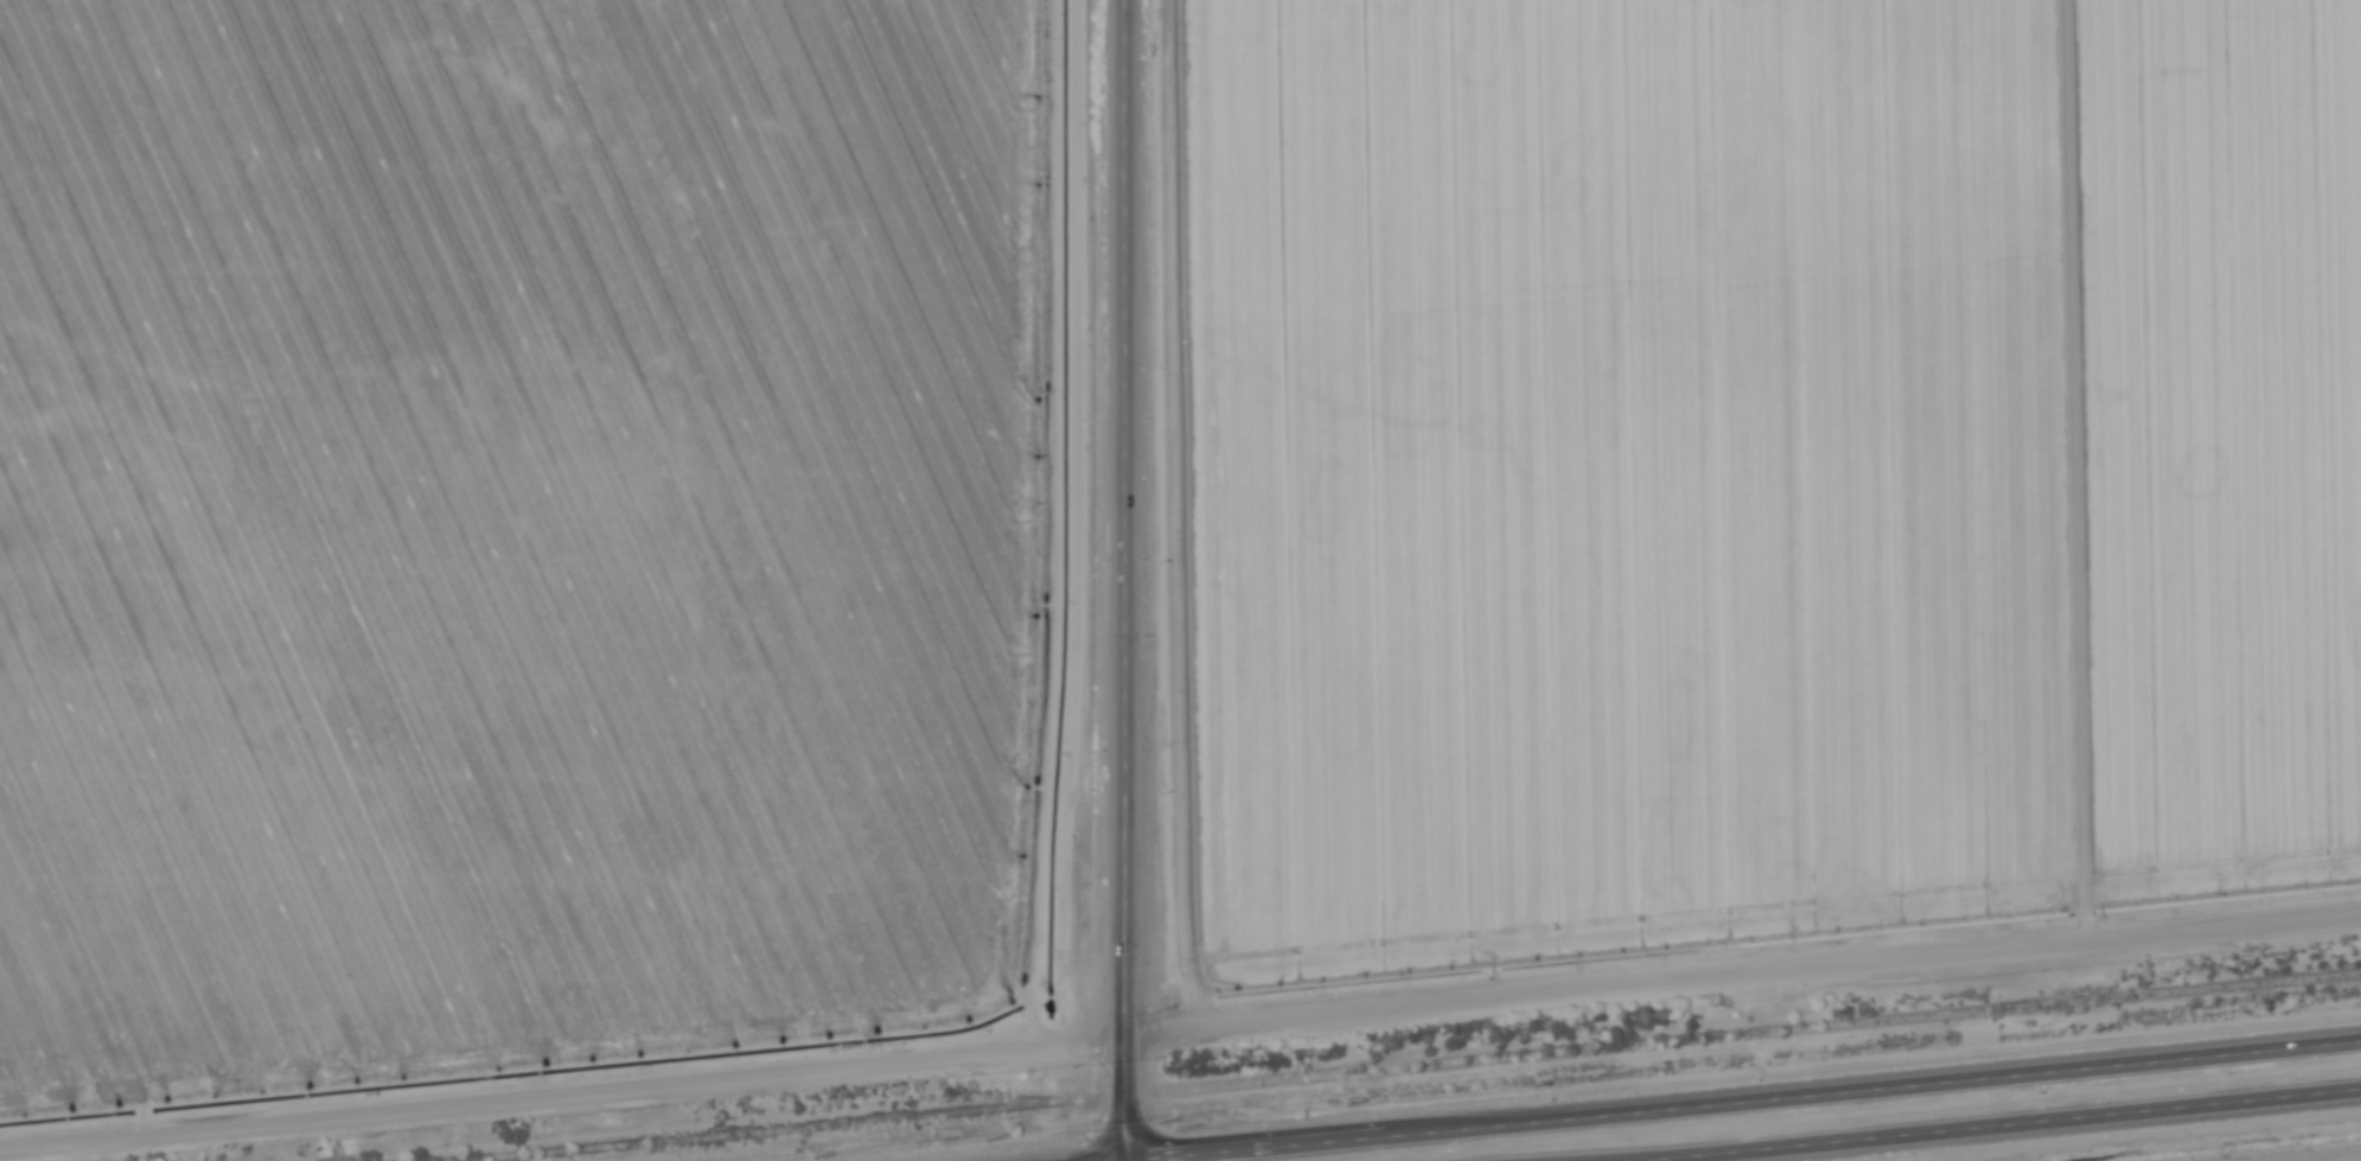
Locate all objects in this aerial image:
crop: (2220, 439)
crop: (1622, 473)
crop: (510, 529)
road: (1121, 576)
road: (1740, 975)
road: (560, 1093)
road: (1744, 1096)
road: (1979, 1124)
road: (1092, 1157)
road: (1129, 1157)
crop: (2342, 1159)

